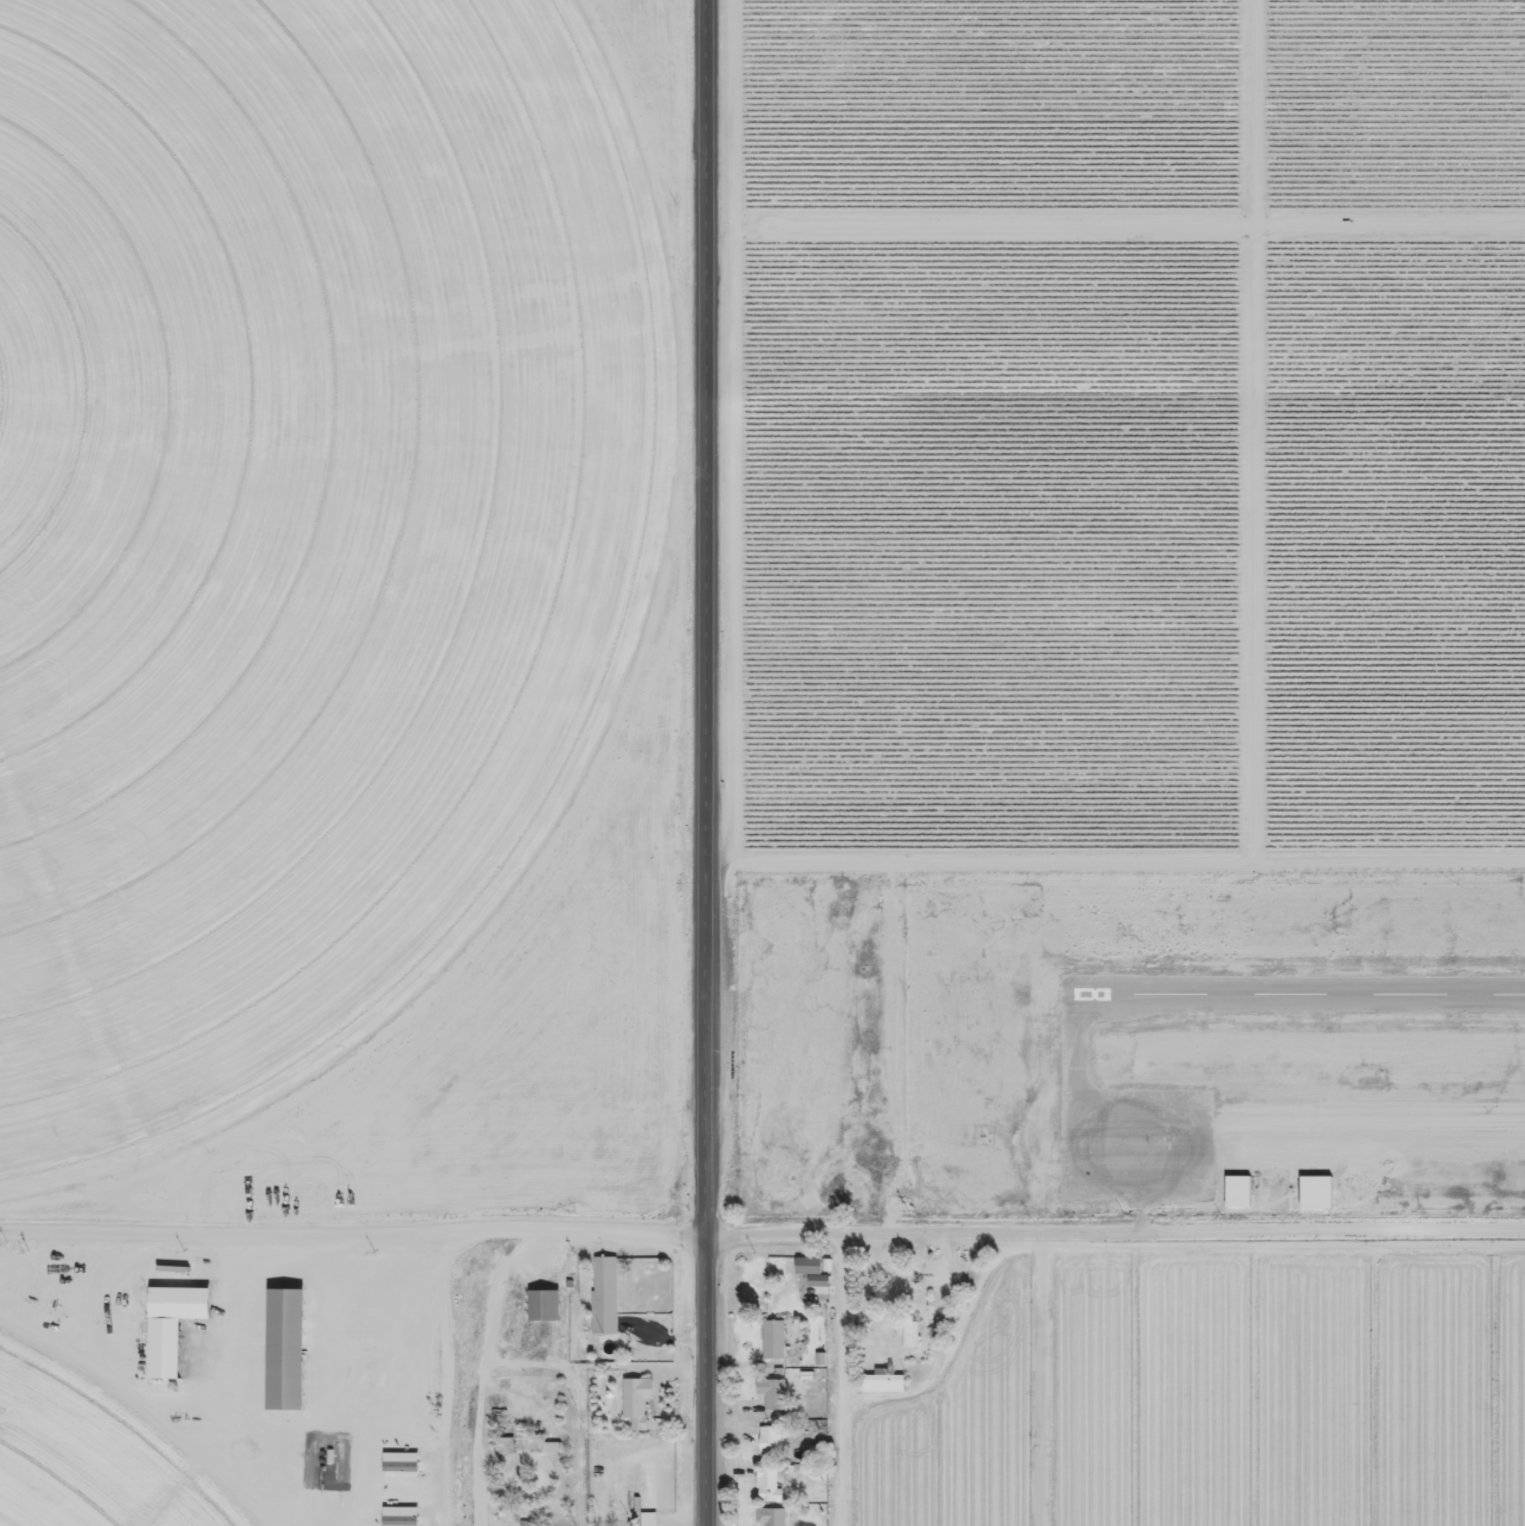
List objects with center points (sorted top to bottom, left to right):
road: (703, 411)
crop: (290, 514)
airport runway: (1300, 994)
airport taxiway: (1075, 1042)
airport: (1133, 1049)
airport apron: (1138, 1146)
road: (709, 1174)
building: (1240, 1197)
road: (1142, 1218)
road: (355, 1230)
road: (1117, 1234)
building: (807, 1265)
building: (818, 1287)
building: (608, 1299)
building: (546, 1309)
building: (175, 1331)
building: (912, 1338)
building: (778, 1344)
building: (288, 1352)
road: (482, 1369)
road: (575, 1376)
road: (844, 1381)
building: (886, 1387)
crop: (1217, 1395)
building: (775, 1398)
building: (643, 1408)
building: (523, 1443)
building: (773, 1448)
crop: (65, 1487)
building: (770, 1493)
building: (647, 1518)
building: (774, 1519)

